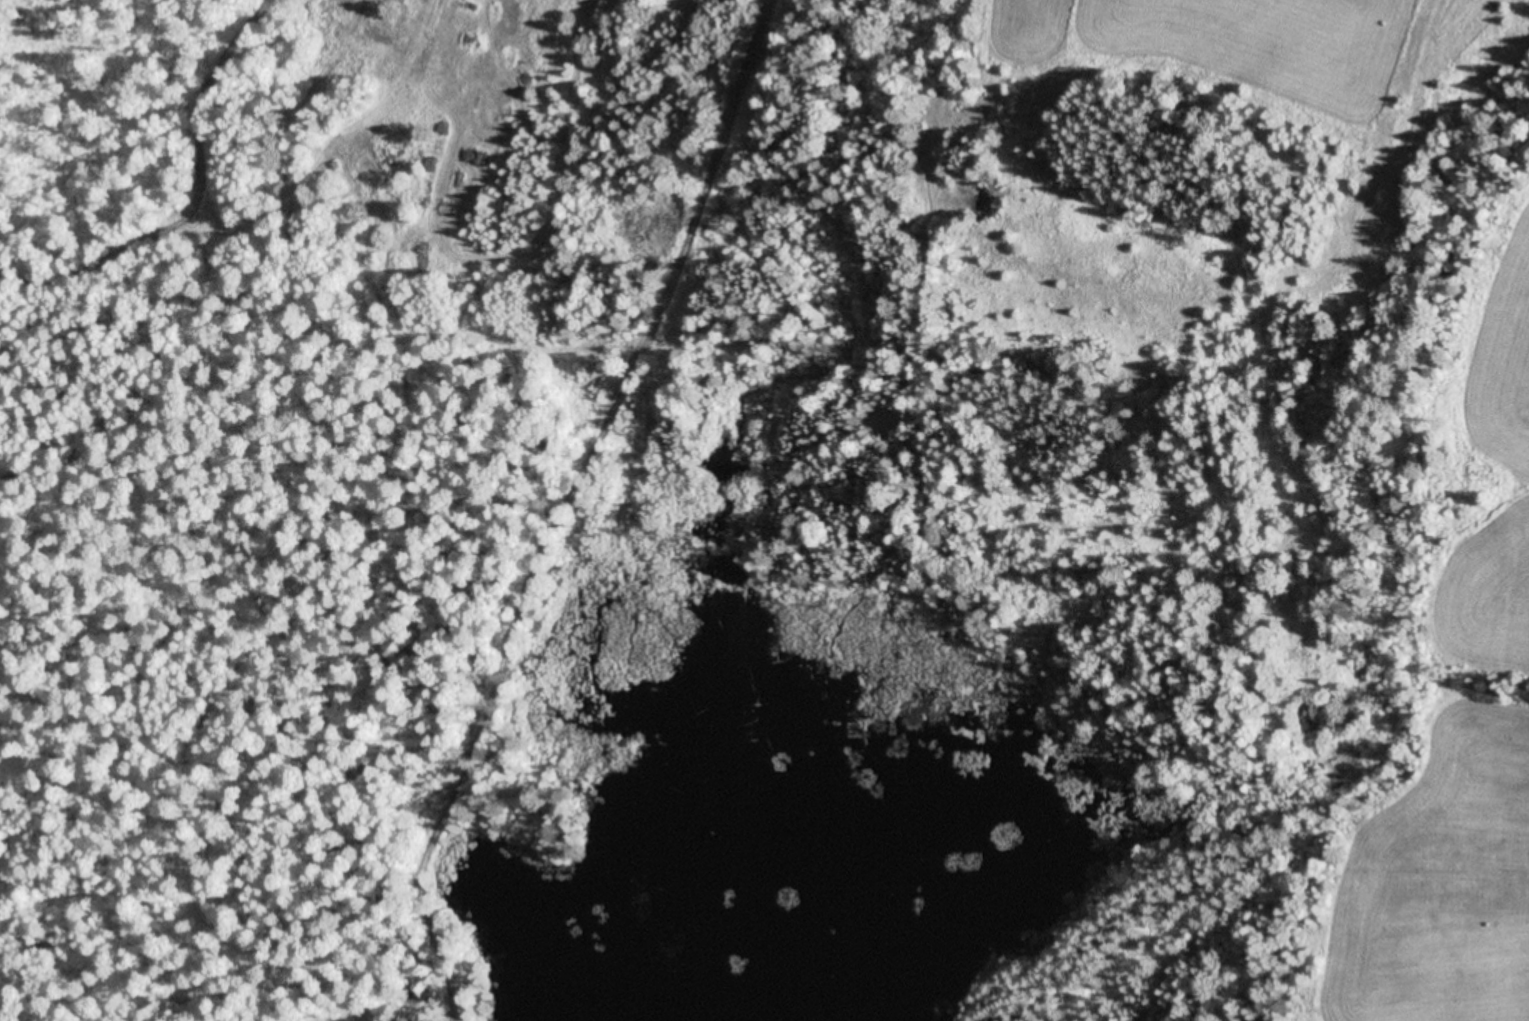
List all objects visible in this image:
building: (494, 137)
road: (586, 510)

